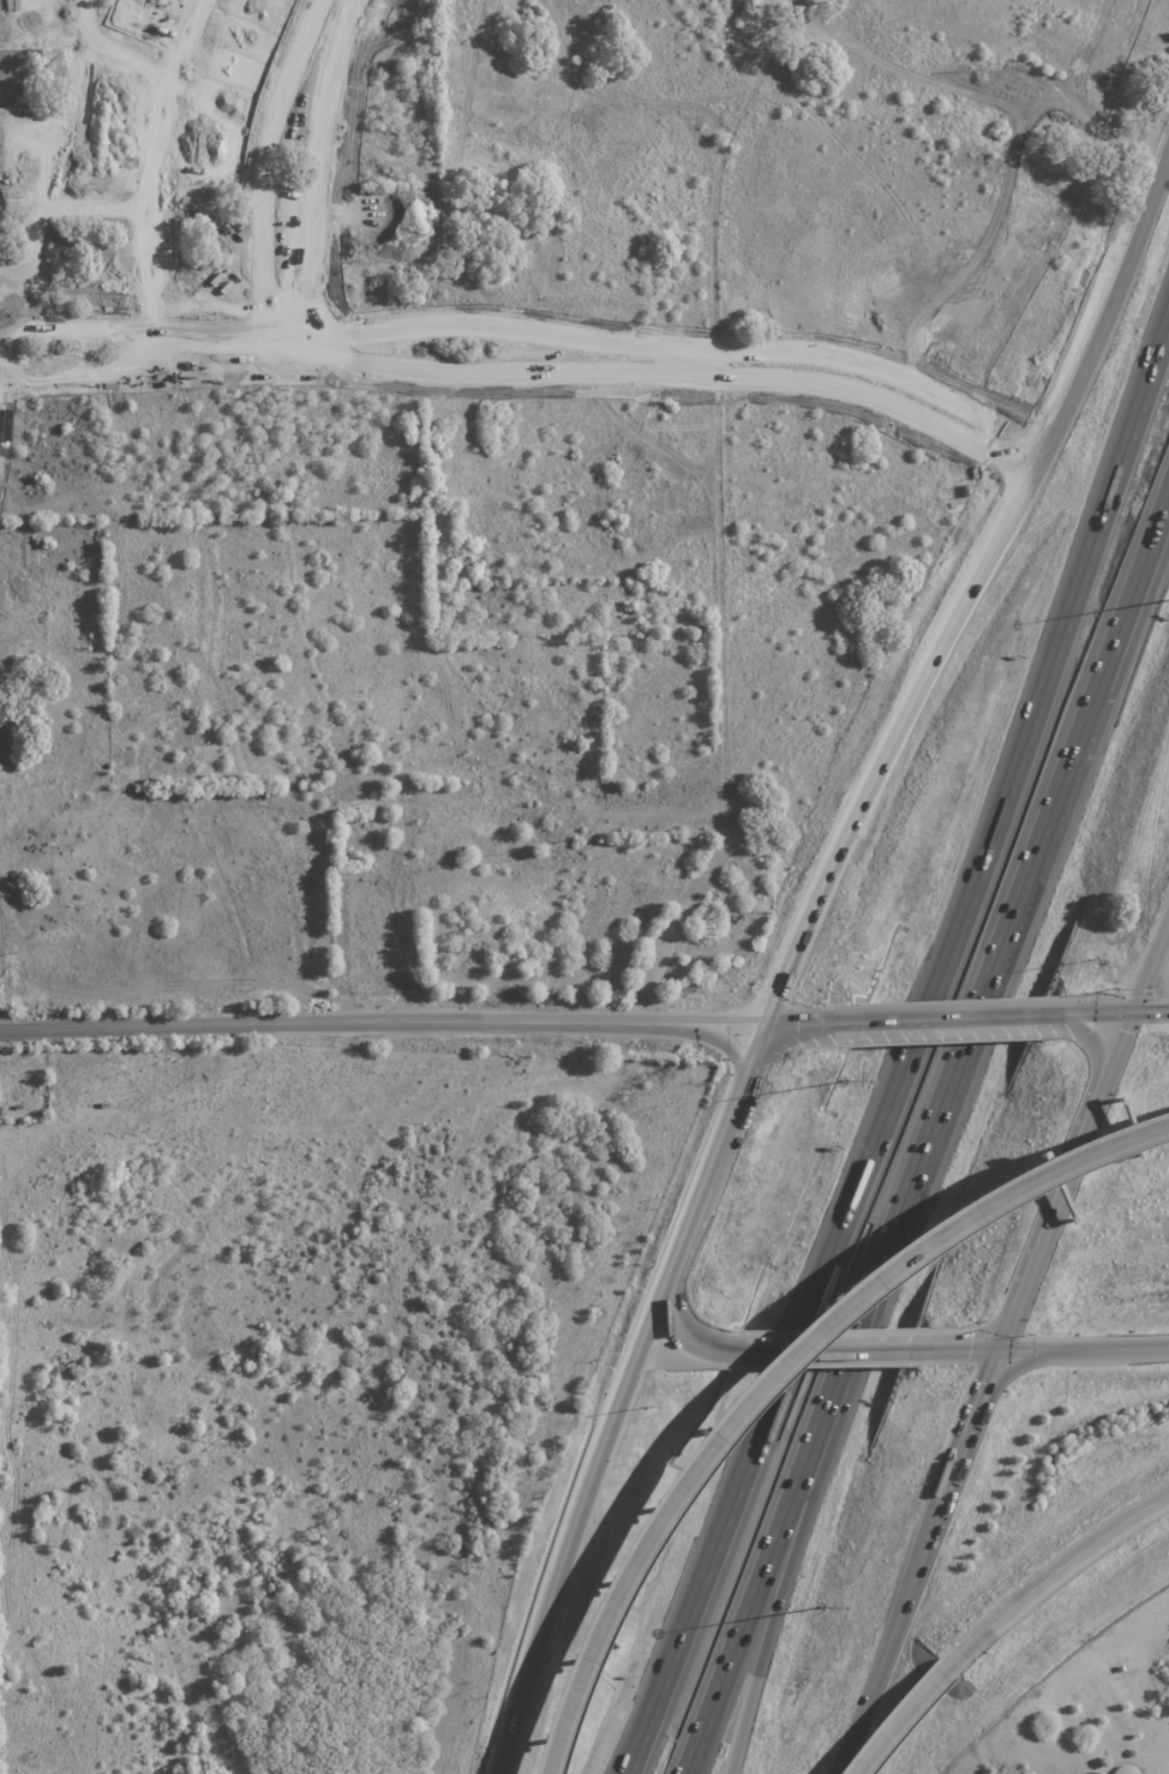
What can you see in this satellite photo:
road: (188, 35)
building: (287, 37)
road: (110, 50)
building: (295, 137)
road: (268, 160)
road: (317, 175)
road: (154, 184)
road: (95, 208)
road: (533, 328)
road: (266, 343)
road: (694, 361)
road: (524, 373)
road: (964, 605)
road: (1099, 665)
road: (1104, 697)
road: (1133, 1003)
road: (1105, 1011)
traffic signals: (1131, 1011)
road: (941, 1017)
road: (805, 1020)
traffic signals: (772, 1021)
road: (969, 1024)
road: (385, 1025)
road: (915, 1025)
road: (1090, 1041)
road: (709, 1176)
road: (1049, 1218)
road: (675, 1321)
road: (957, 1343)
traffic signals: (1000, 1343)
road: (1084, 1343)
road: (808, 1347)
road: (762, 1364)
road: (811, 1479)
road: (793, 1480)
road: (569, 1524)
road: (917, 1558)
road: (1048, 1576)
road: (898, 1722)
road: (627, 1751)
road: (631, 1751)

